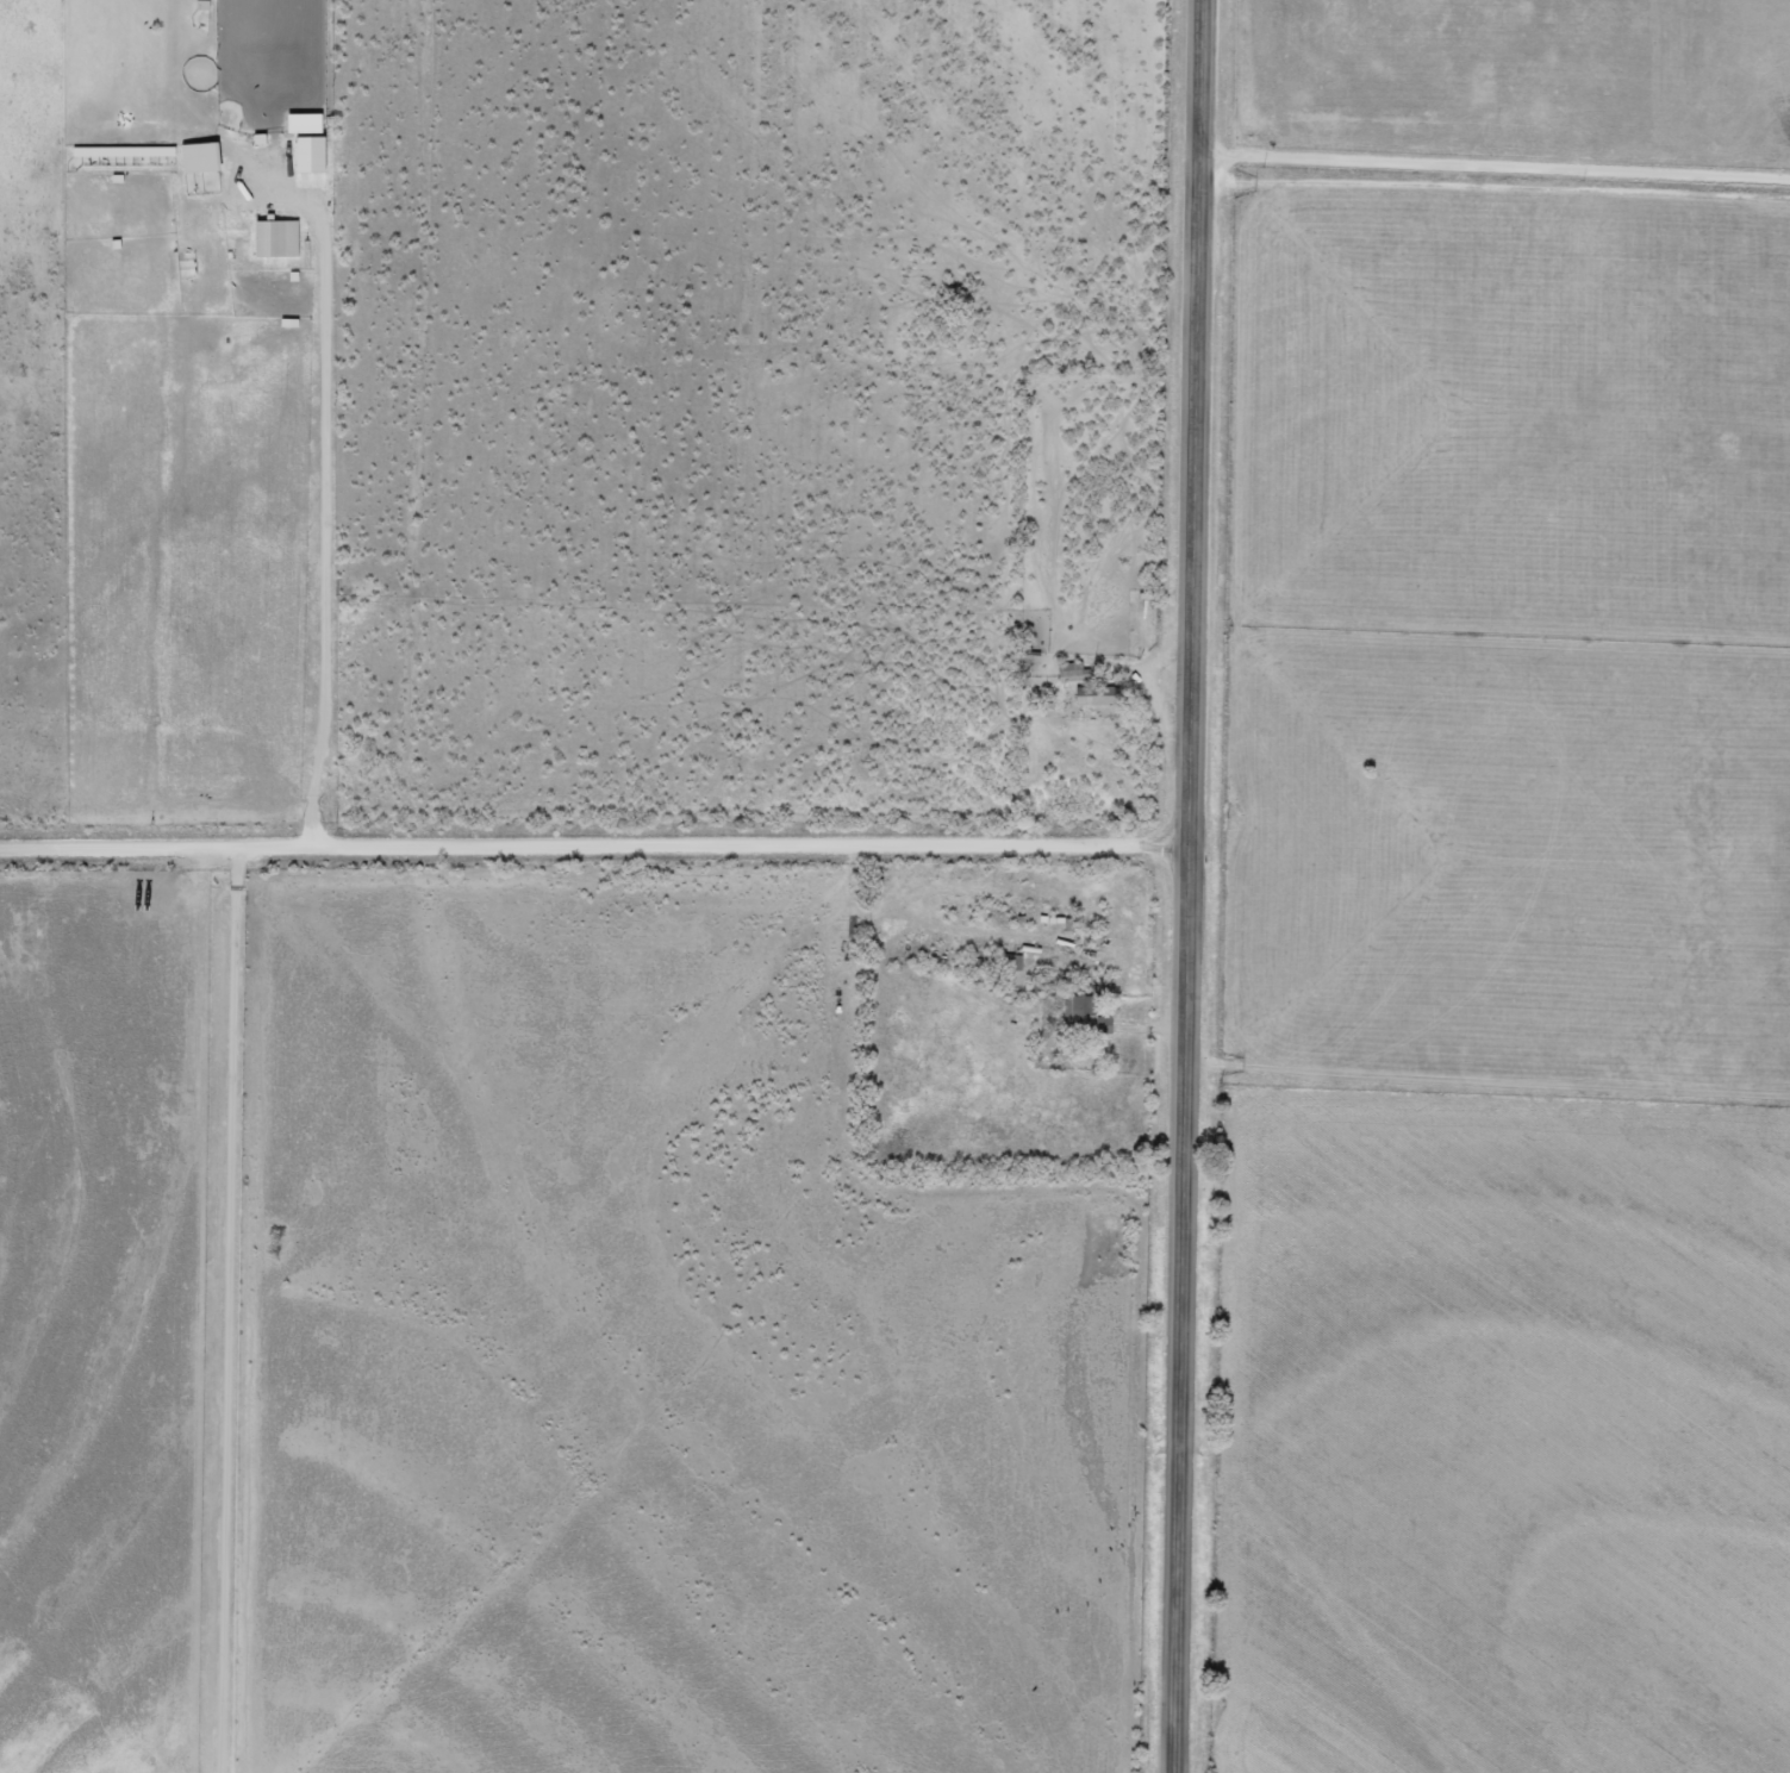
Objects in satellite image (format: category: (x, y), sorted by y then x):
road: (1491, 167)
building: (266, 239)
building: (1060, 672)
road: (595, 848)
road: (1190, 886)
building: (1075, 1016)

